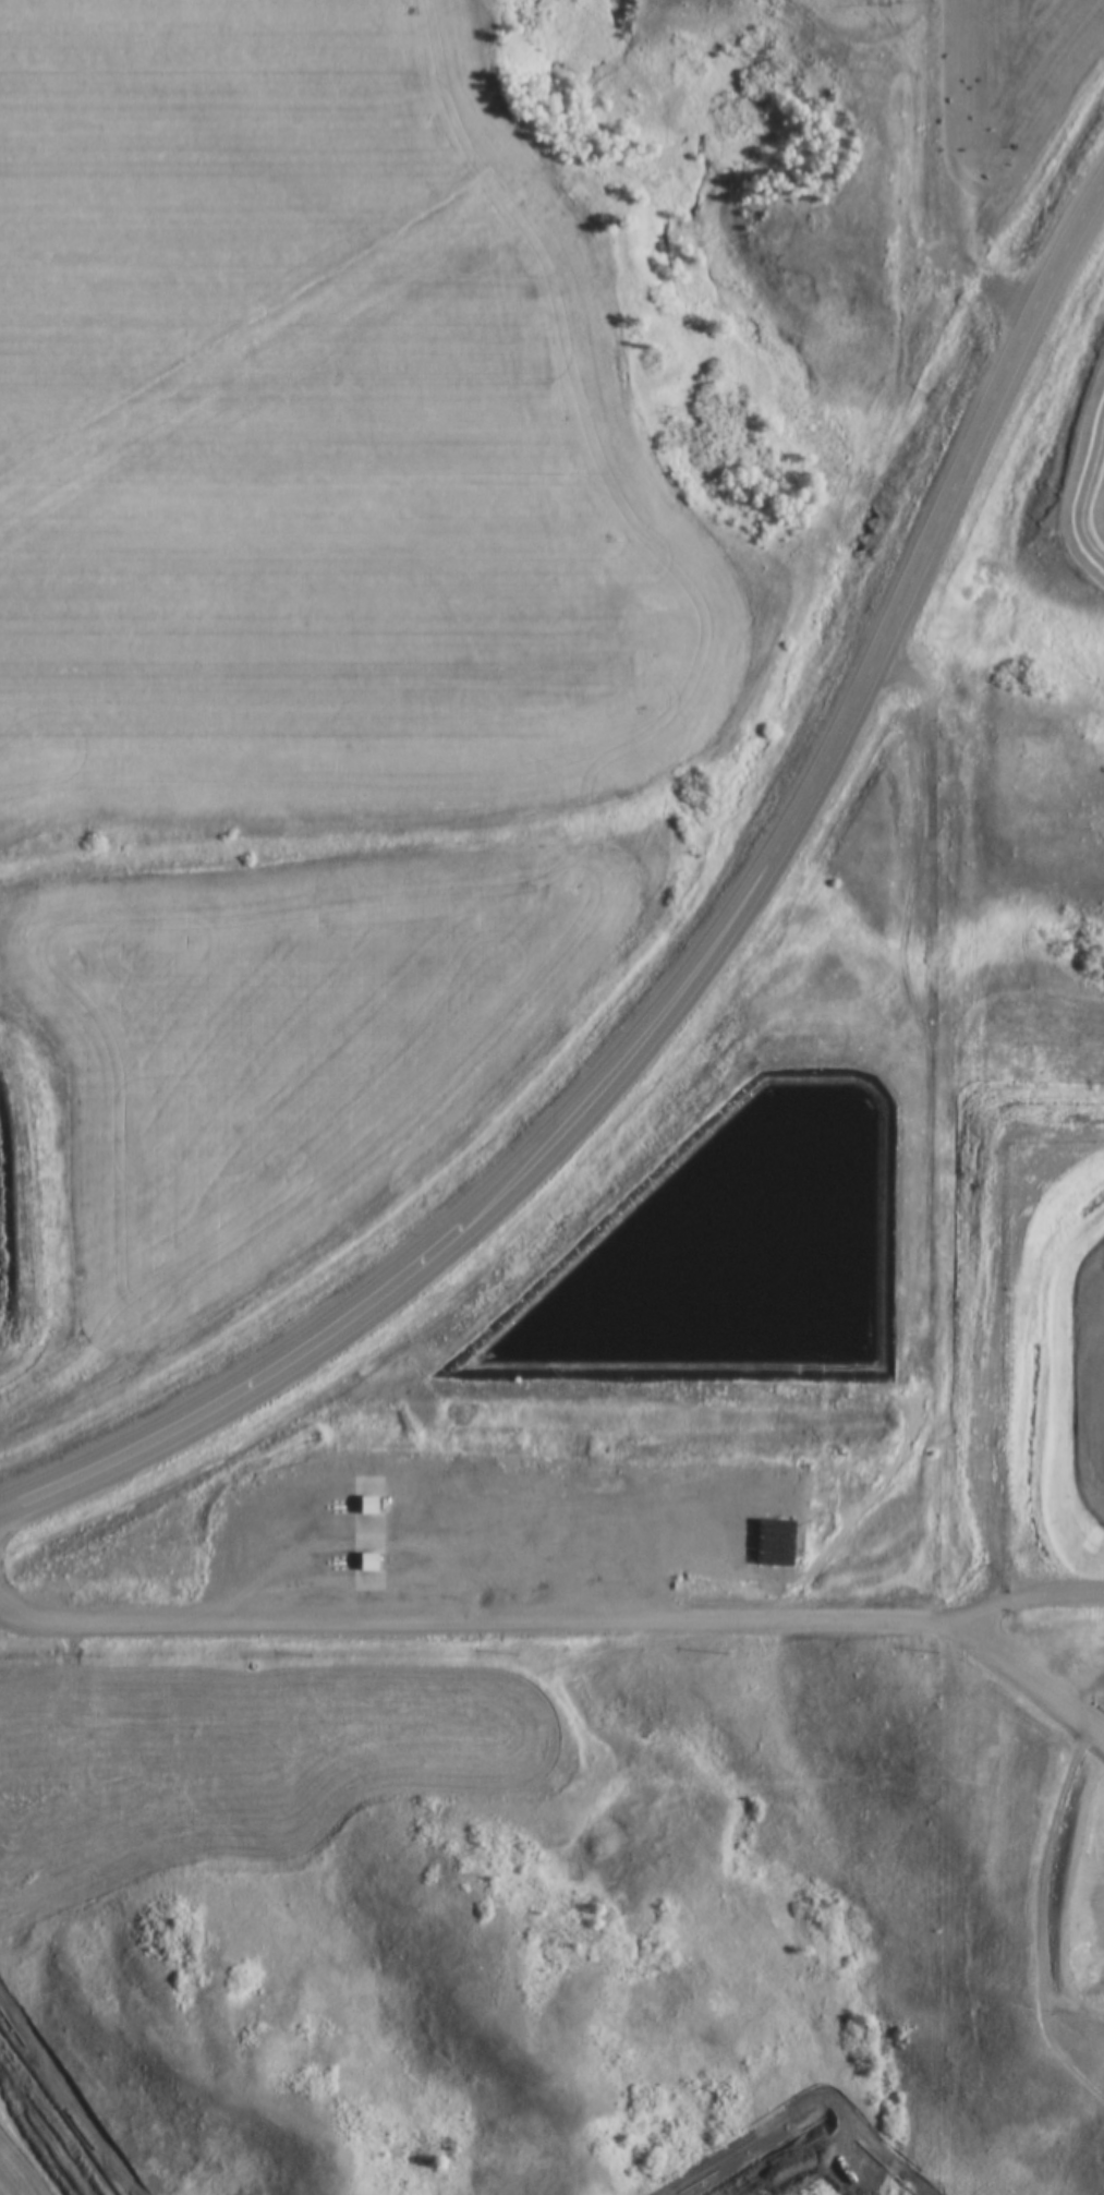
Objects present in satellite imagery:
road: (699, 979)

